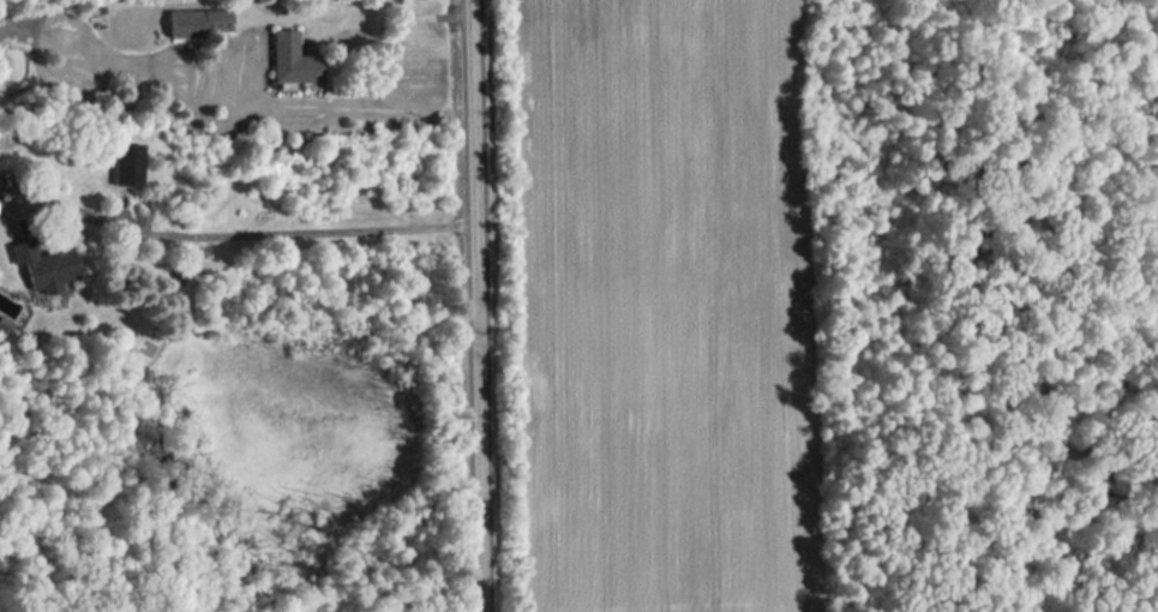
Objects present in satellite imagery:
road: (395, 12)
building: (217, 19)
building: (295, 59)
building: (130, 163)
road: (250, 228)
building: (47, 264)
road: (484, 305)

